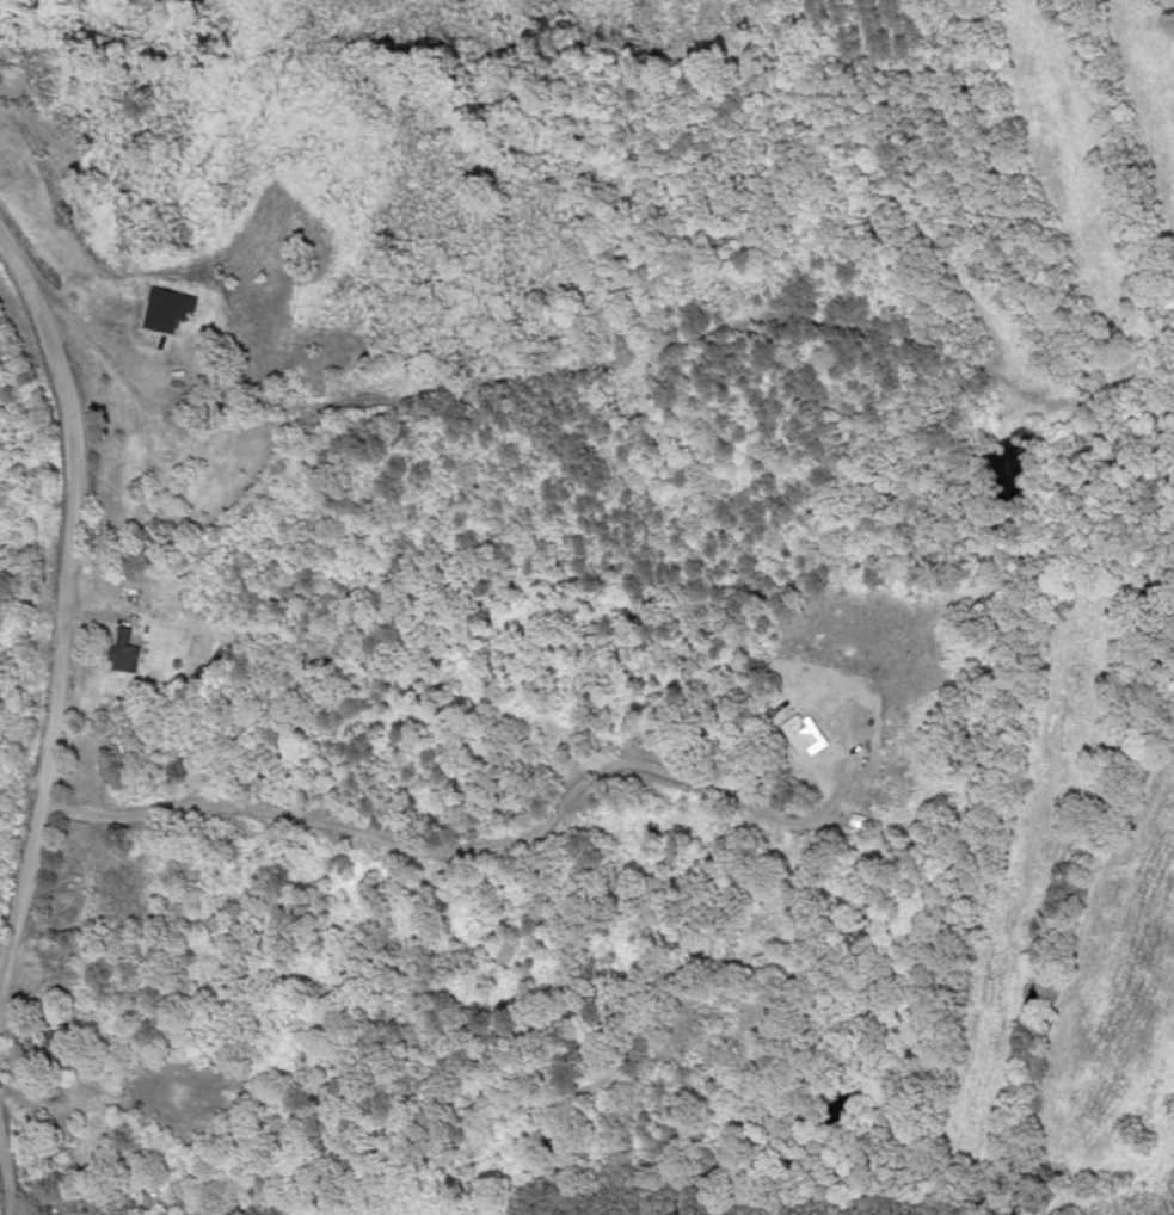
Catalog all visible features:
building: (170, 427)
road: (68, 641)
building: (119, 653)
building: (798, 734)
building: (61, 963)
road: (10, 1146)
building: (150, 1213)

